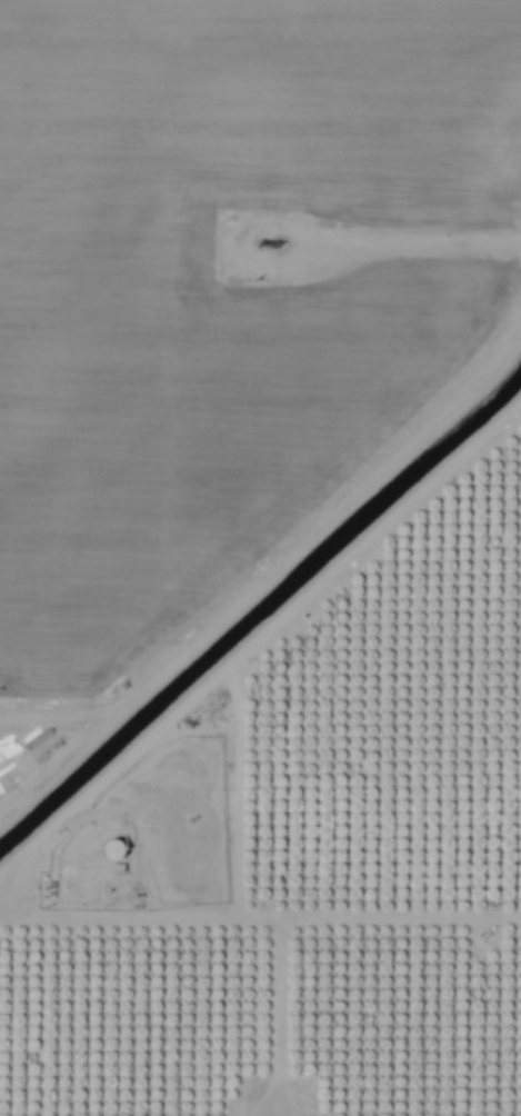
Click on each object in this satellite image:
road: (380, 919)

